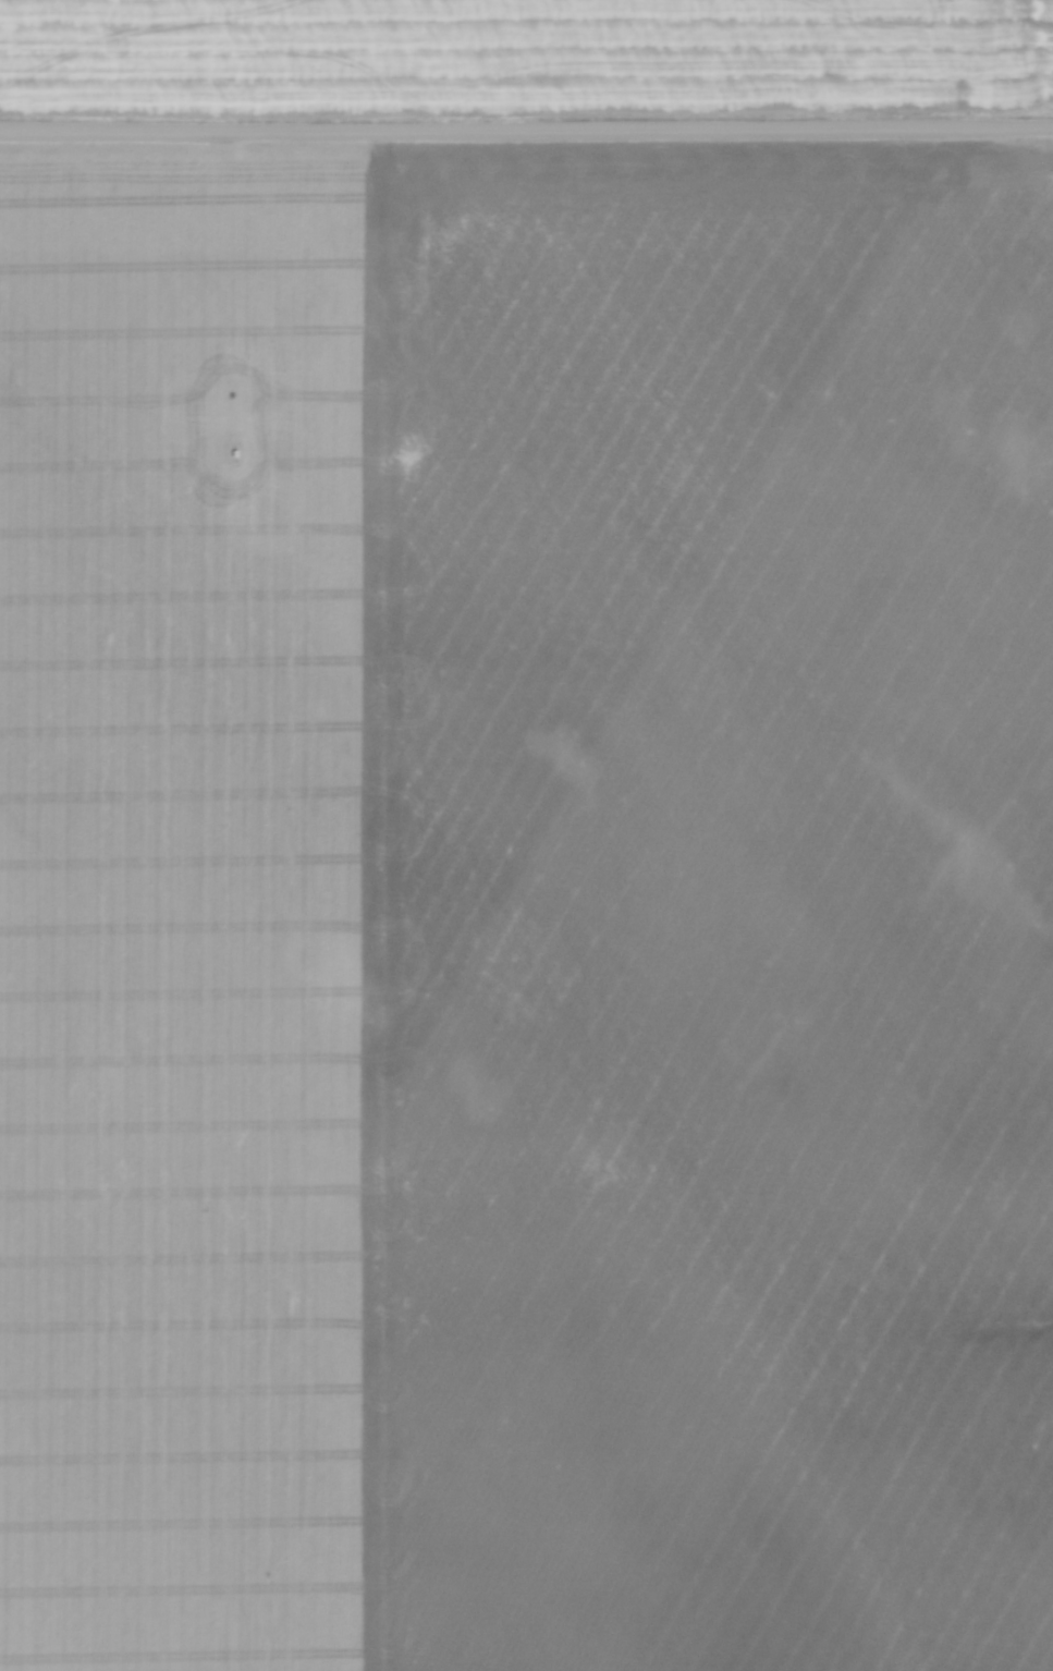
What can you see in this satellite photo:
crop: (469, 57)
road: (526, 130)
crop: (526, 910)

